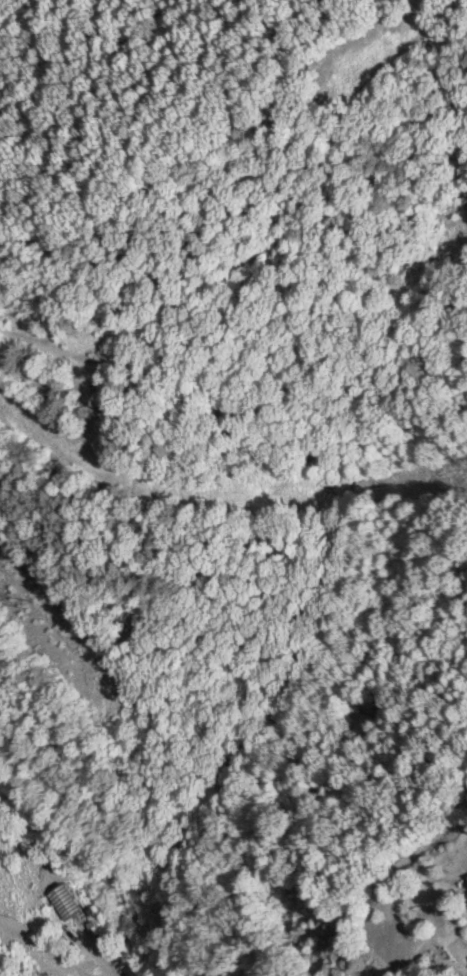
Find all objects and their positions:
building: (466, 876)
building: (466, 892)
building: (61, 901)

